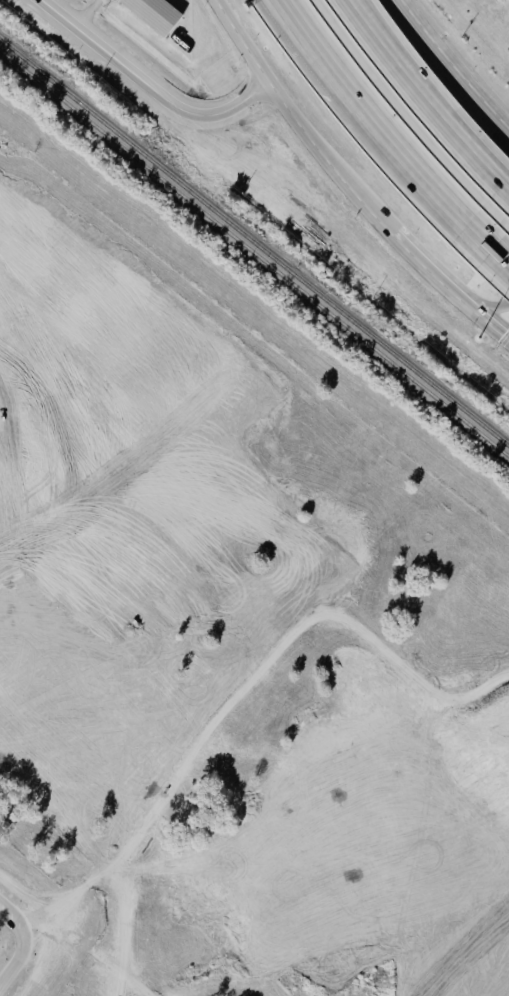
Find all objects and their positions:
building: (153, 15)
road: (305, 48)
road: (452, 67)
road: (151, 89)
road: (418, 106)
road: (296, 111)
road: (414, 173)
railway: (254, 245)
railway: (254, 257)
road: (499, 257)
road: (416, 259)
road: (483, 308)
railway: (254, 312)
road: (483, 321)
road: (243, 691)
road: (18, 925)
road: (13, 965)

